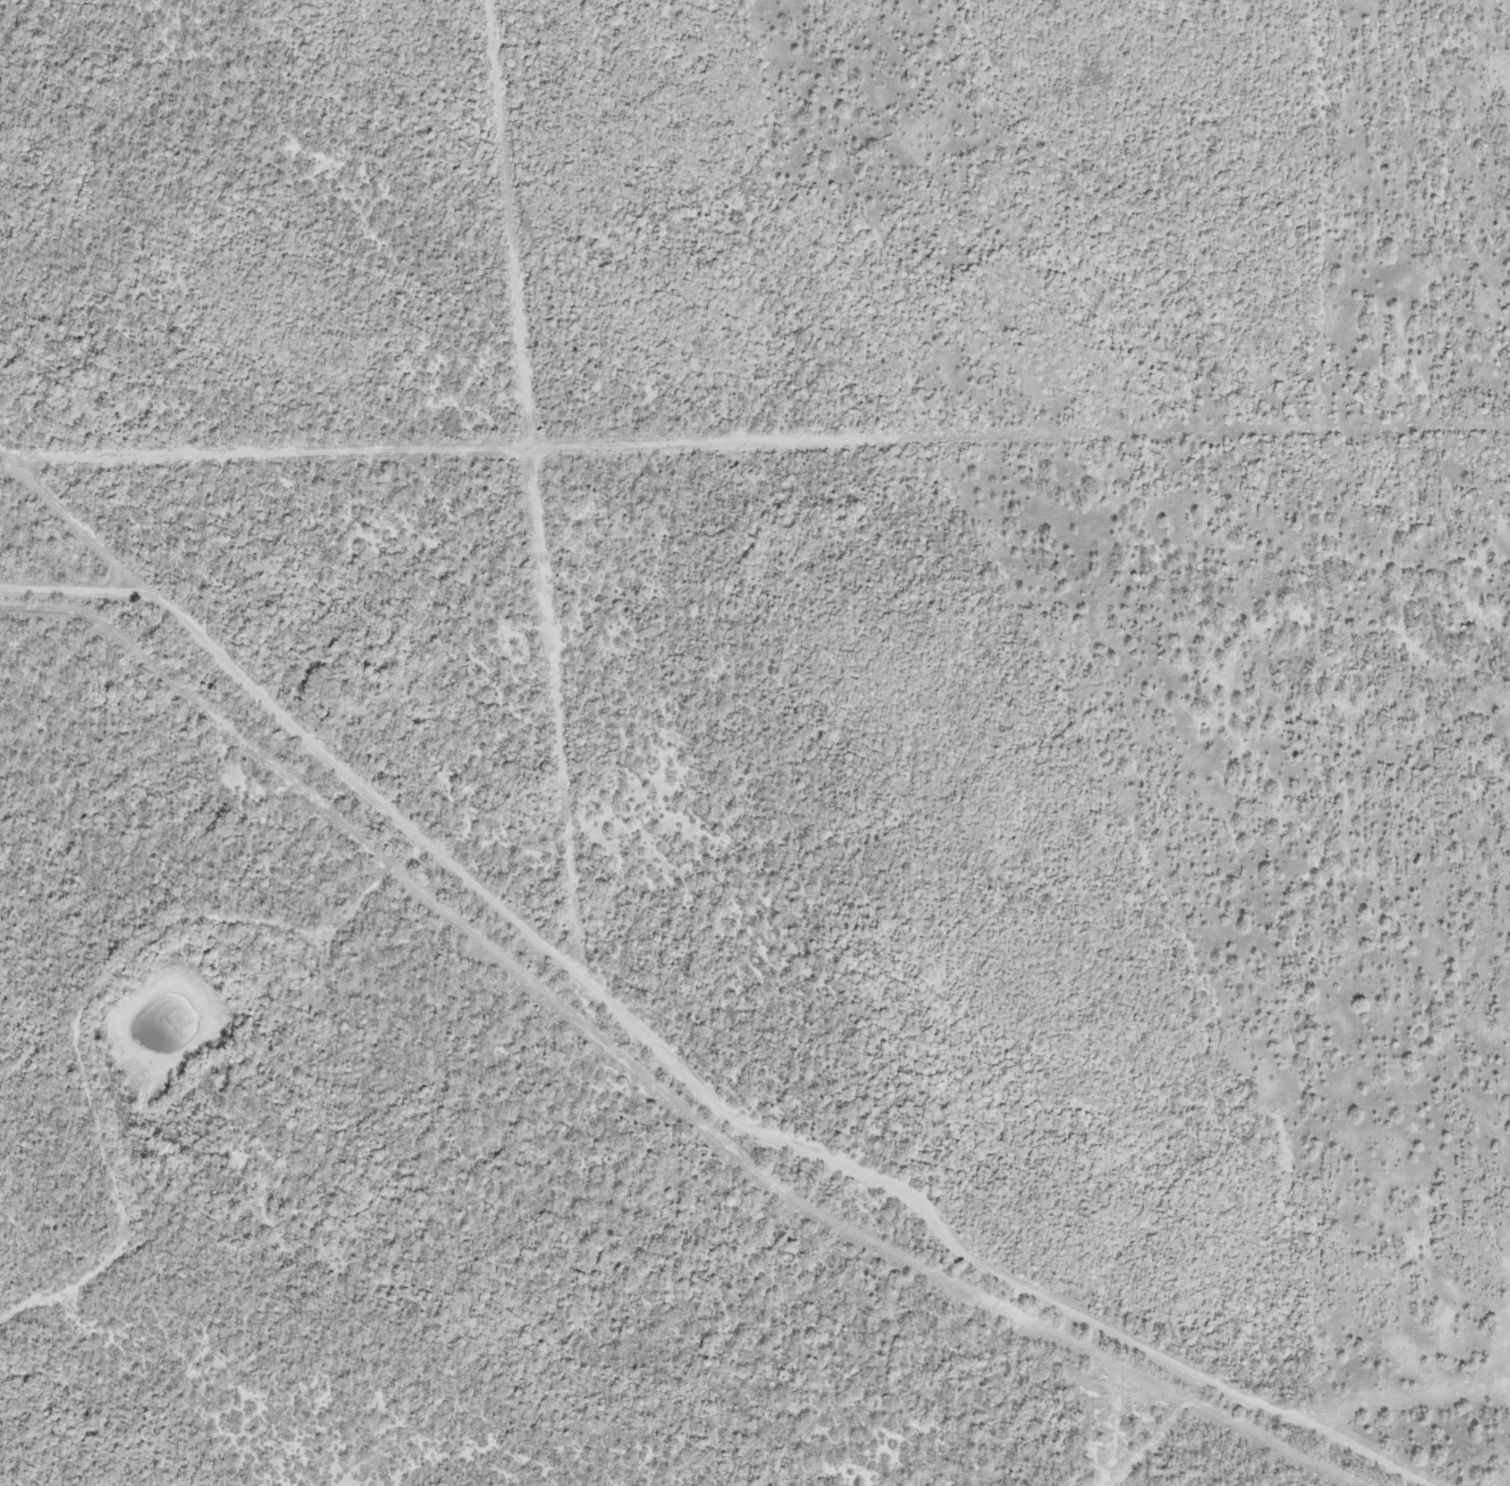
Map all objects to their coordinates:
road: (650, 1053)

